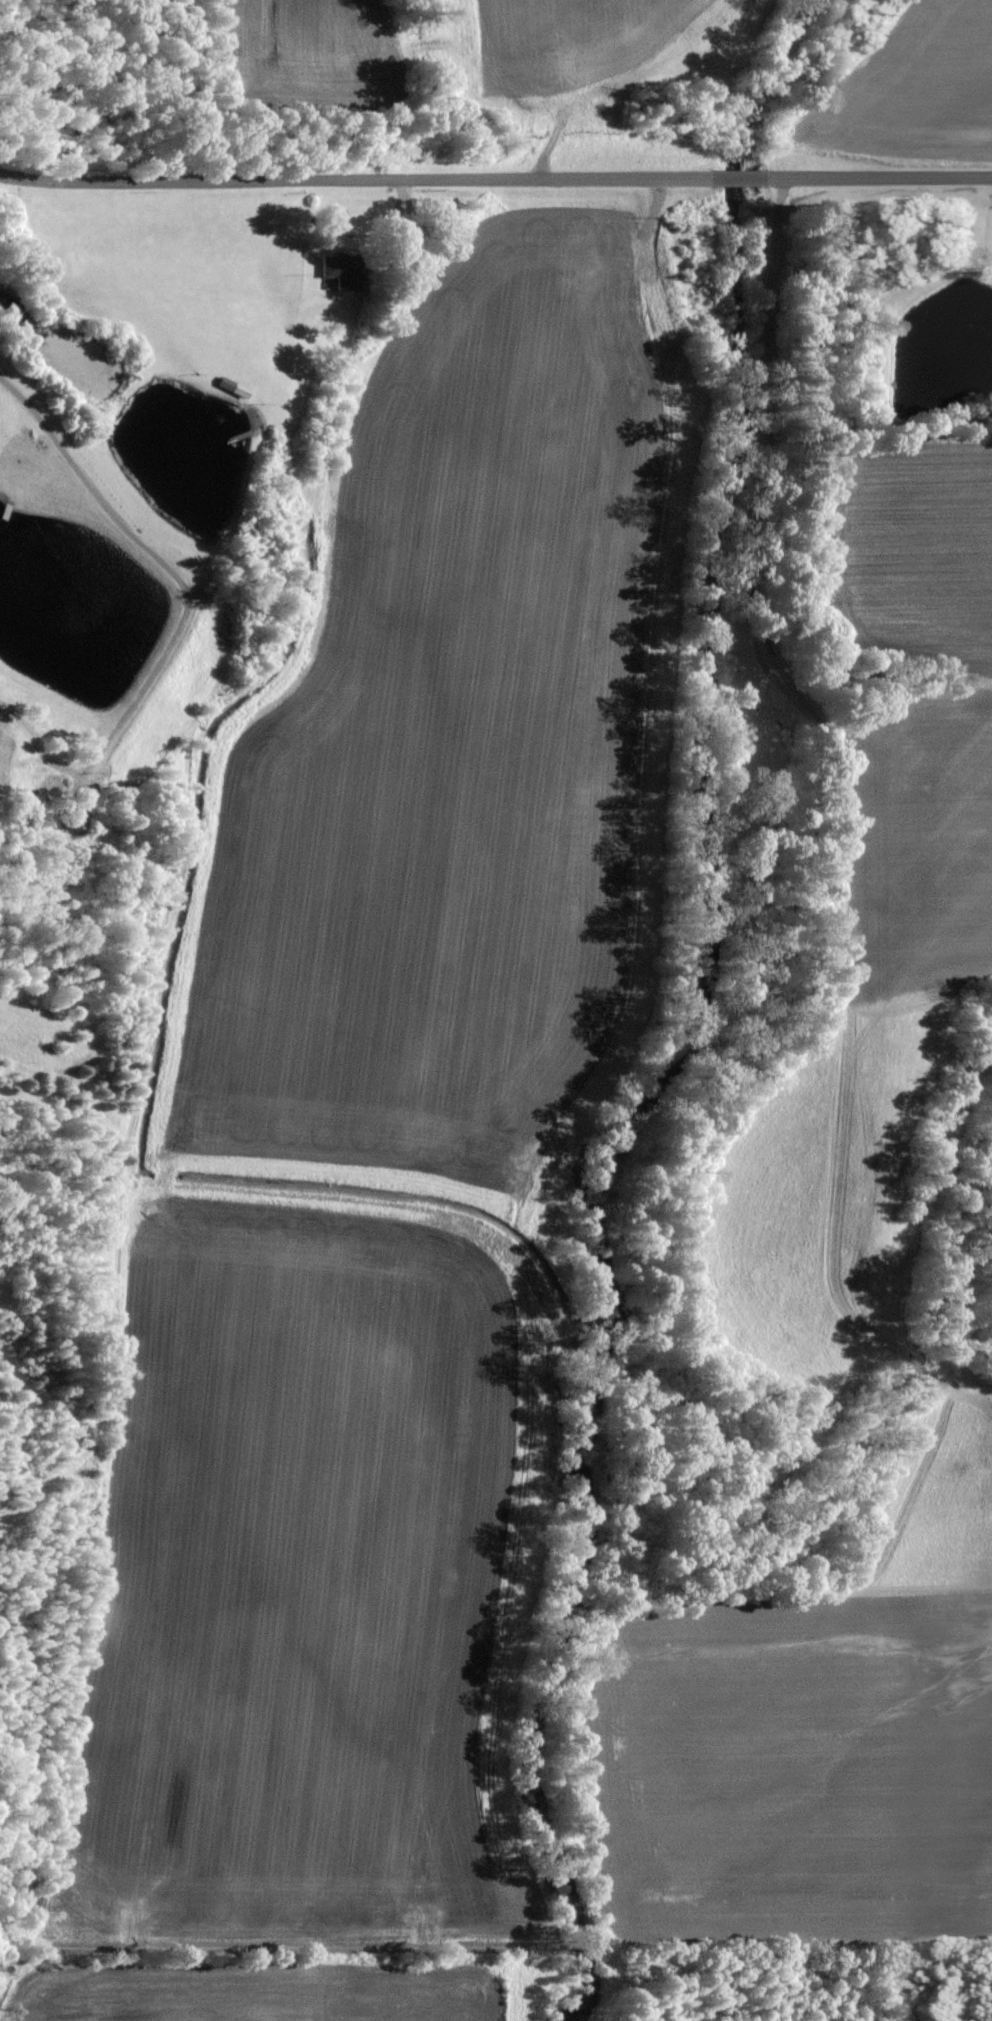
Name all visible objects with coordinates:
road: (547, 149)
road: (869, 178)
road: (736, 180)
road: (362, 188)
road: (401, 208)
building: (331, 279)
building: (226, 394)
pier: (233, 442)
pier: (3, 517)
road: (160, 570)
building: (71, 817)
road: (139, 1083)
crop: (376, 1124)
road: (44, 1397)
road: (19, 1425)

